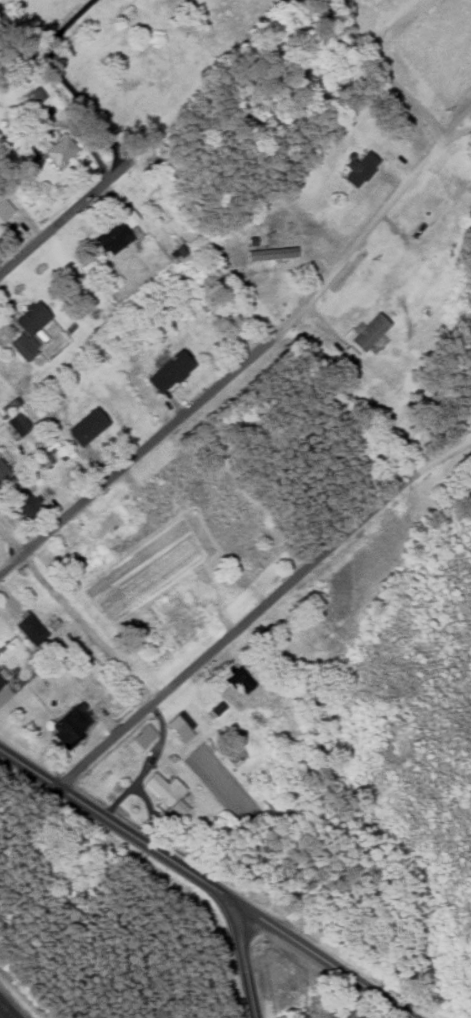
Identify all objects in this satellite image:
road: (384, 67)
road: (60, 77)
road: (457, 134)
building: (58, 149)
building: (28, 153)
building: (358, 169)
building: (4, 211)
road: (63, 219)
building: (113, 234)
building: (179, 253)
building: (269, 255)
building: (26, 328)
building: (368, 332)
road: (259, 345)
building: (167, 371)
building: (17, 423)
building: (85, 426)
building: (49, 458)
building: (2, 470)
building: (22, 501)
building: (109, 522)
road: (10, 541)
road: (10, 563)
road: (260, 607)
road: (86, 628)
building: (29, 629)
building: (236, 679)
building: (1, 681)
building: (66, 728)
building: (179, 728)
building: (137, 740)
road: (147, 765)
building: (166, 793)
road: (151, 812)
road: (118, 828)
road: (243, 961)
road: (326, 961)
railway: (6, 1010)
railway: (0, 1017)

